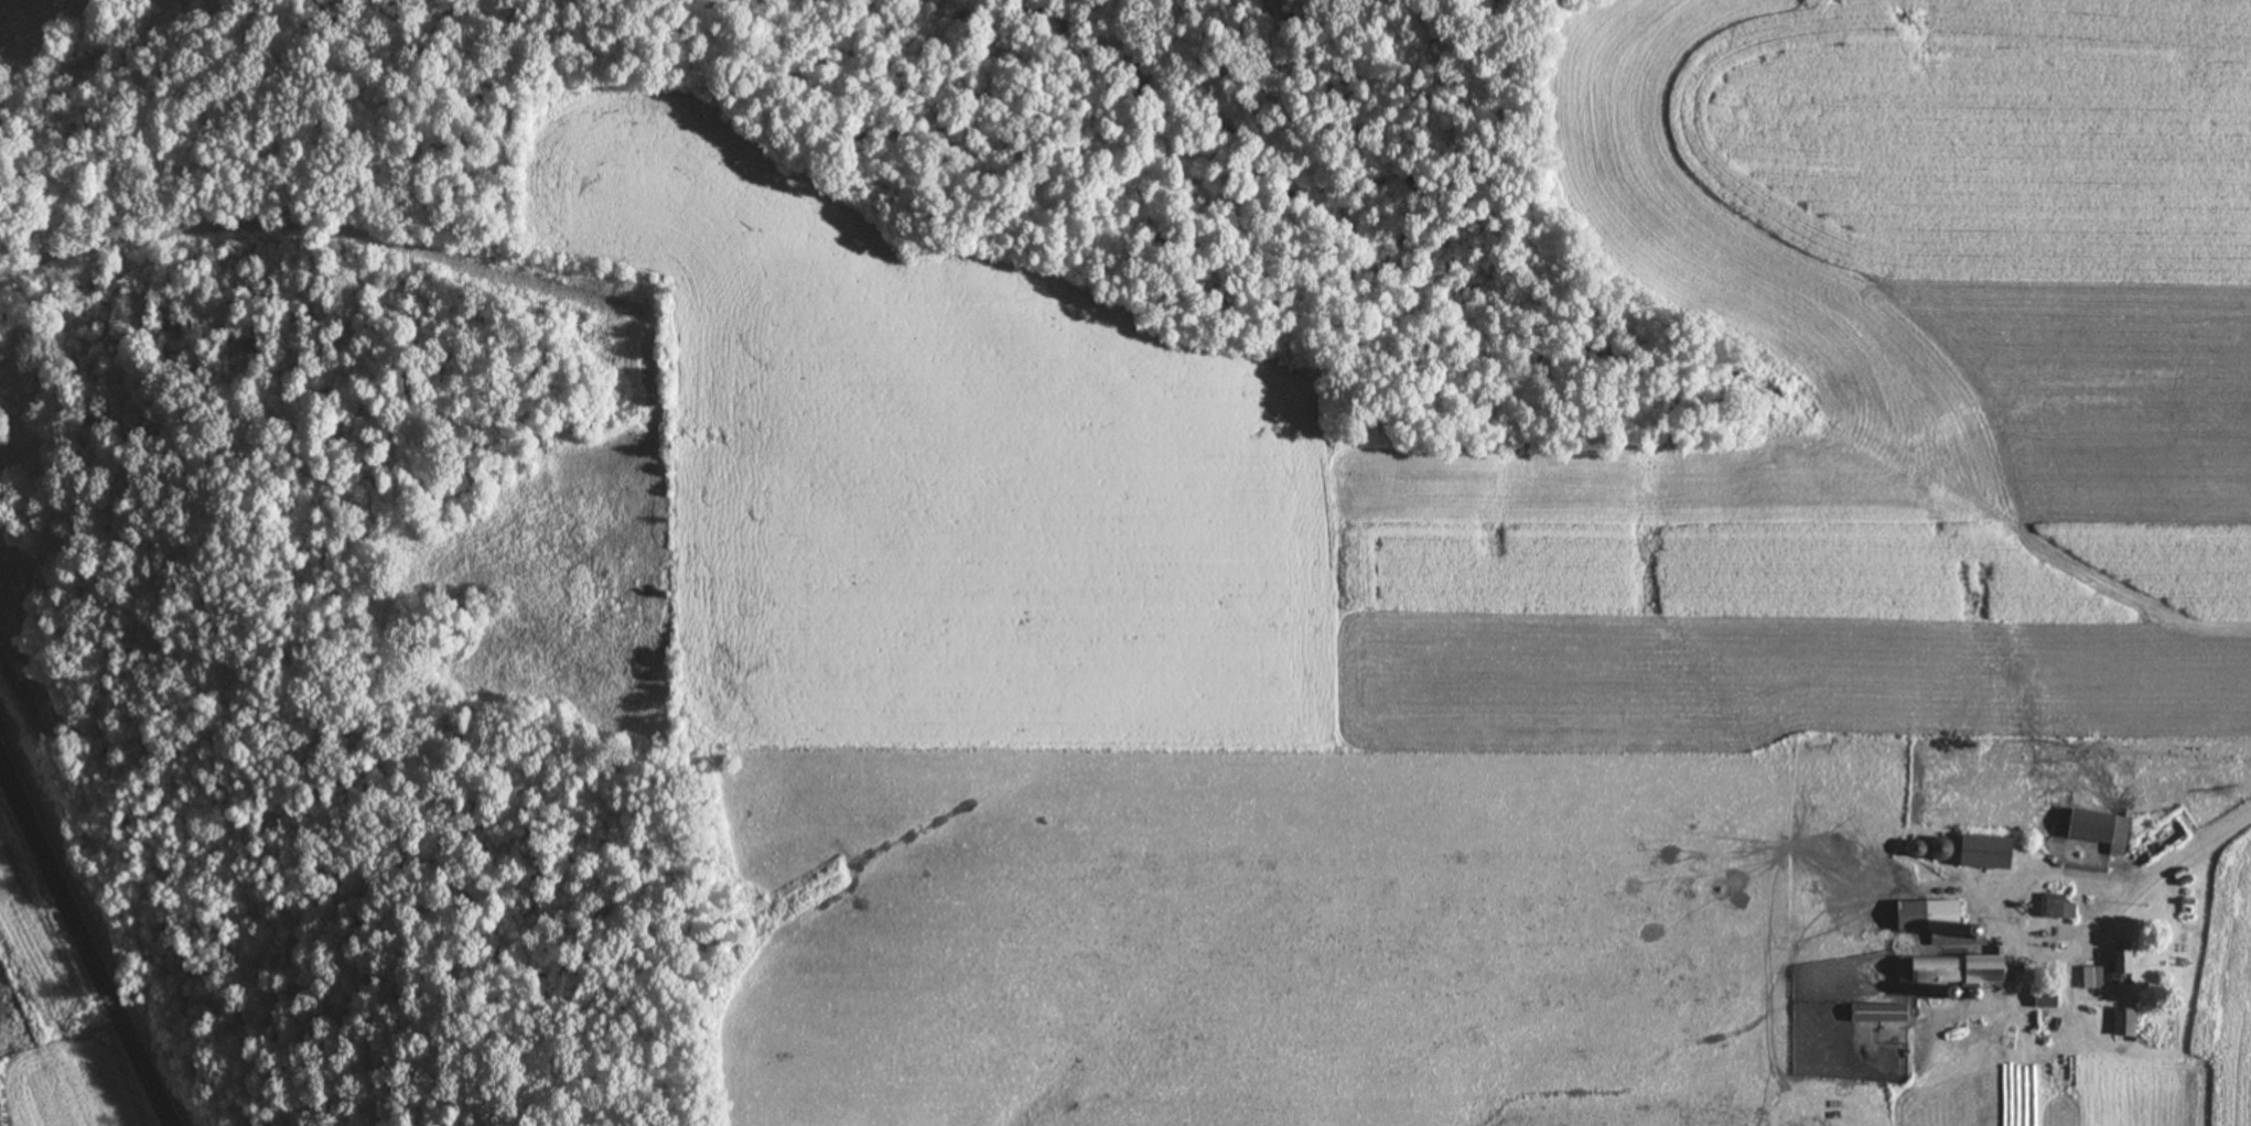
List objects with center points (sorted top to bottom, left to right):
building: (2088, 825)
building: (1911, 847)
building: (1981, 849)
road: (2154, 875)
building: (1932, 922)
road: (83, 948)
building: (2117, 961)
building: (1951, 968)
building: (2089, 976)
building: (2040, 995)
building: (1874, 1011)
building: (2121, 1021)

